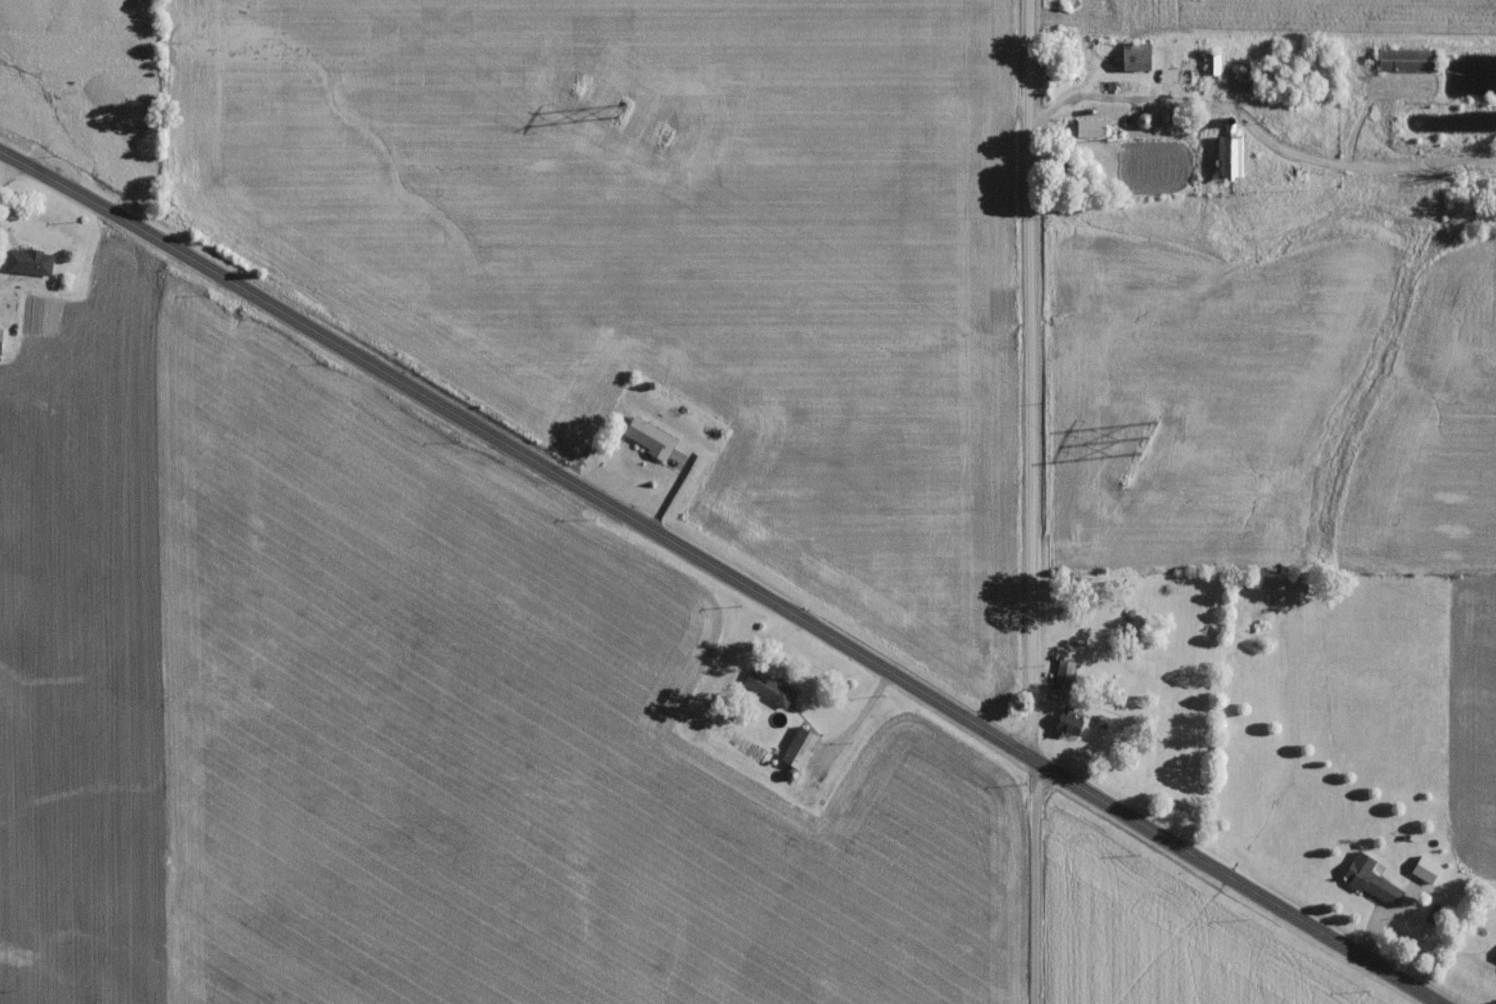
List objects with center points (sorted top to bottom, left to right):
building: (1137, 62)
building: (1407, 65)
building: (1212, 69)
building: (1248, 83)
road: (1118, 99)
power tower: (618, 115)
building: (1142, 126)
building: (1090, 133)
building: (1229, 160)
road: (10, 170)
building: (29, 267)
building: (1, 344)
power tower: (1146, 442)
building: (649, 443)
road: (1031, 502)
road: (728, 569)
building: (1063, 676)
building: (768, 692)
building: (1067, 729)
building: (796, 754)
building: (1371, 885)
building: (1494, 965)

